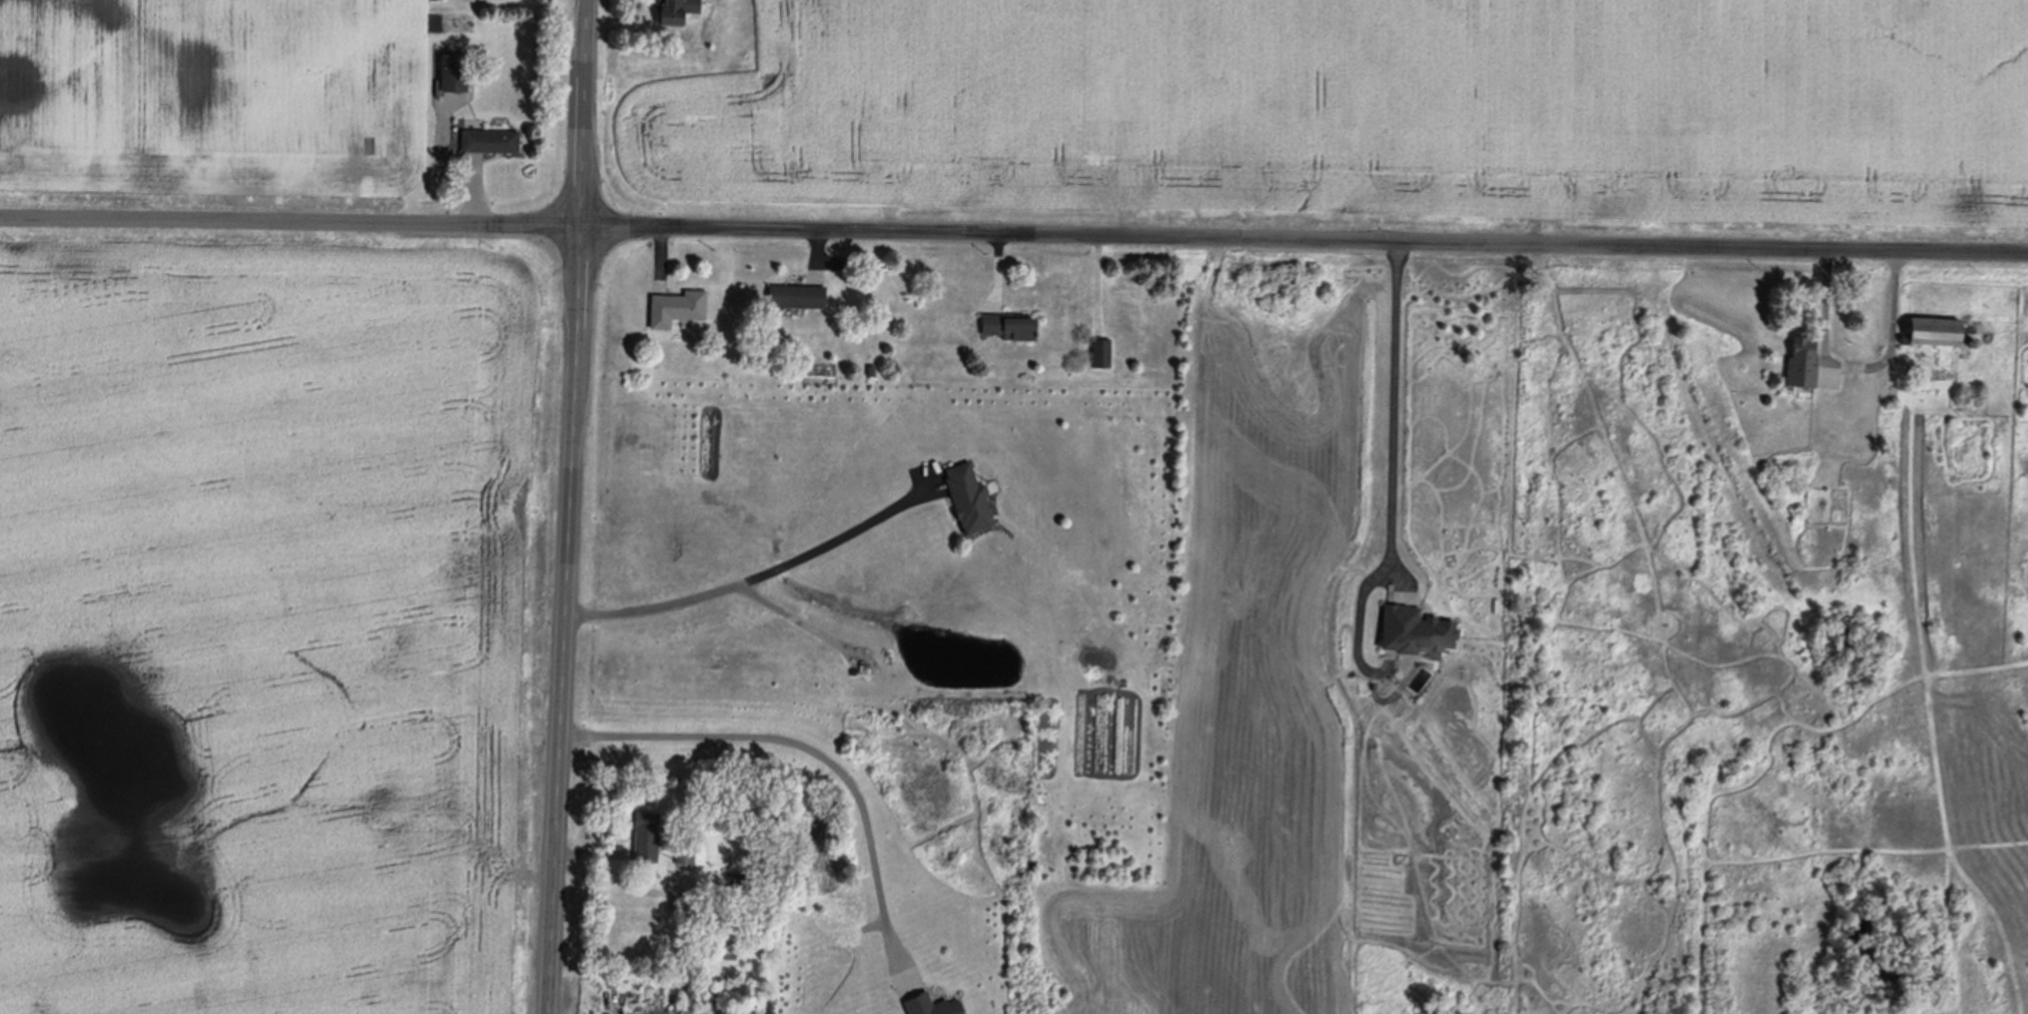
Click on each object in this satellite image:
building: (678, 9)
building: (455, 70)
crop: (197, 103)
crop: (1353, 104)
building: (491, 140)
road: (1014, 233)
building: (797, 295)
building: (680, 304)
road: (1892, 305)
building: (1010, 325)
building: (1934, 330)
building: (1972, 342)
building: (1102, 351)
building: (1802, 362)
road: (1391, 408)
building: (969, 497)
road: (567, 507)
road: (759, 584)
building: (1415, 630)
road: (816, 755)
building: (646, 836)
building: (689, 851)
building: (737, 877)
building: (931, 1005)

